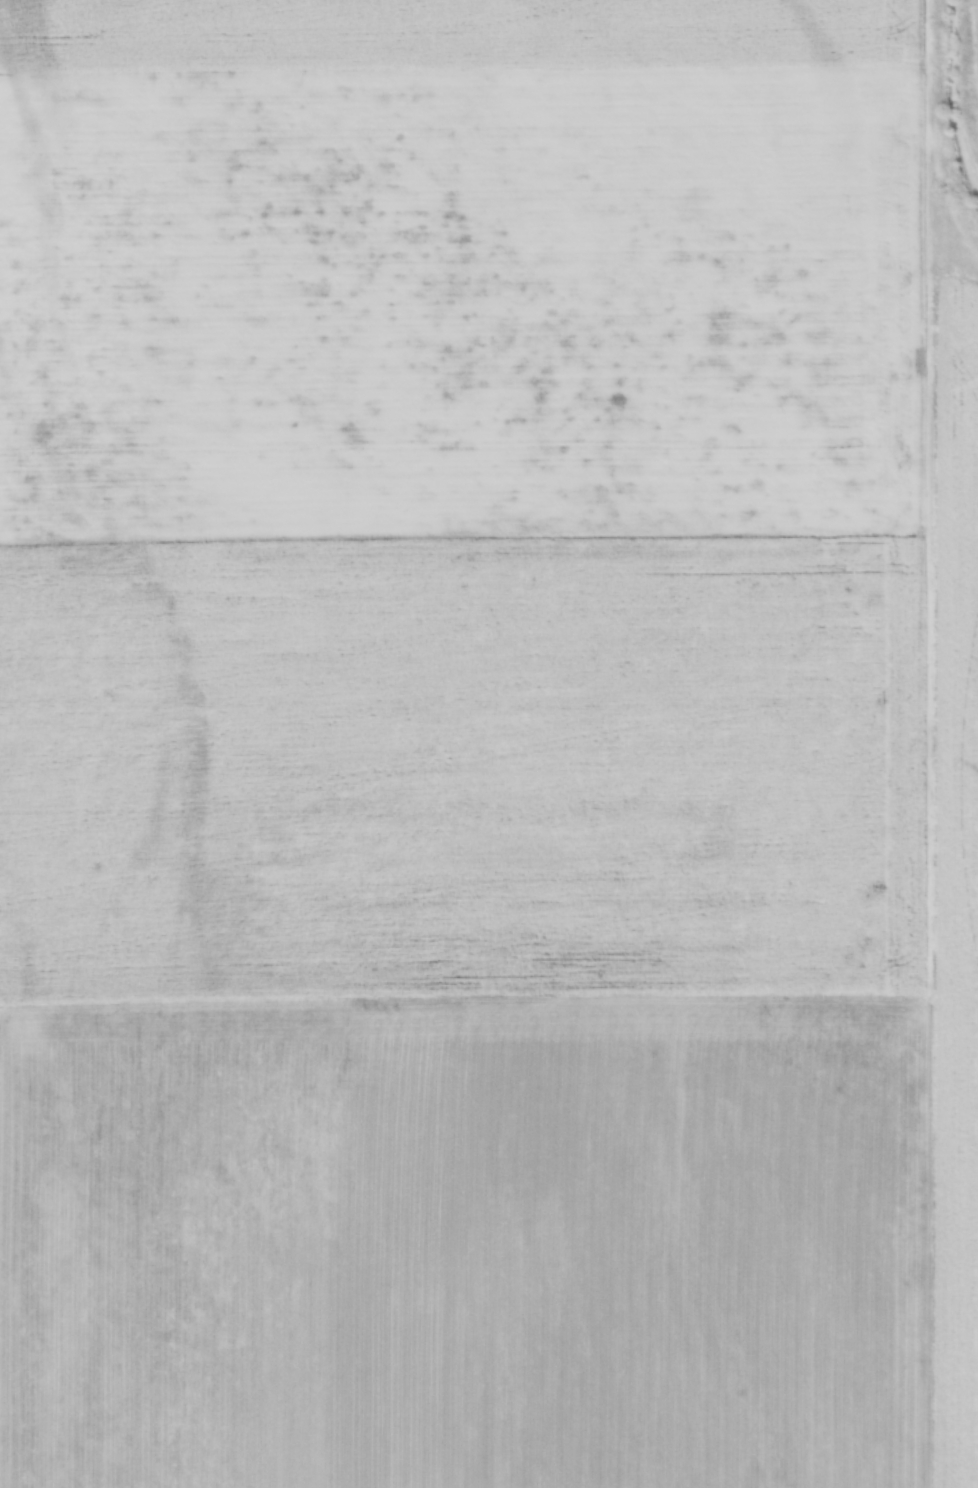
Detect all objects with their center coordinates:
river: (956, 83)

